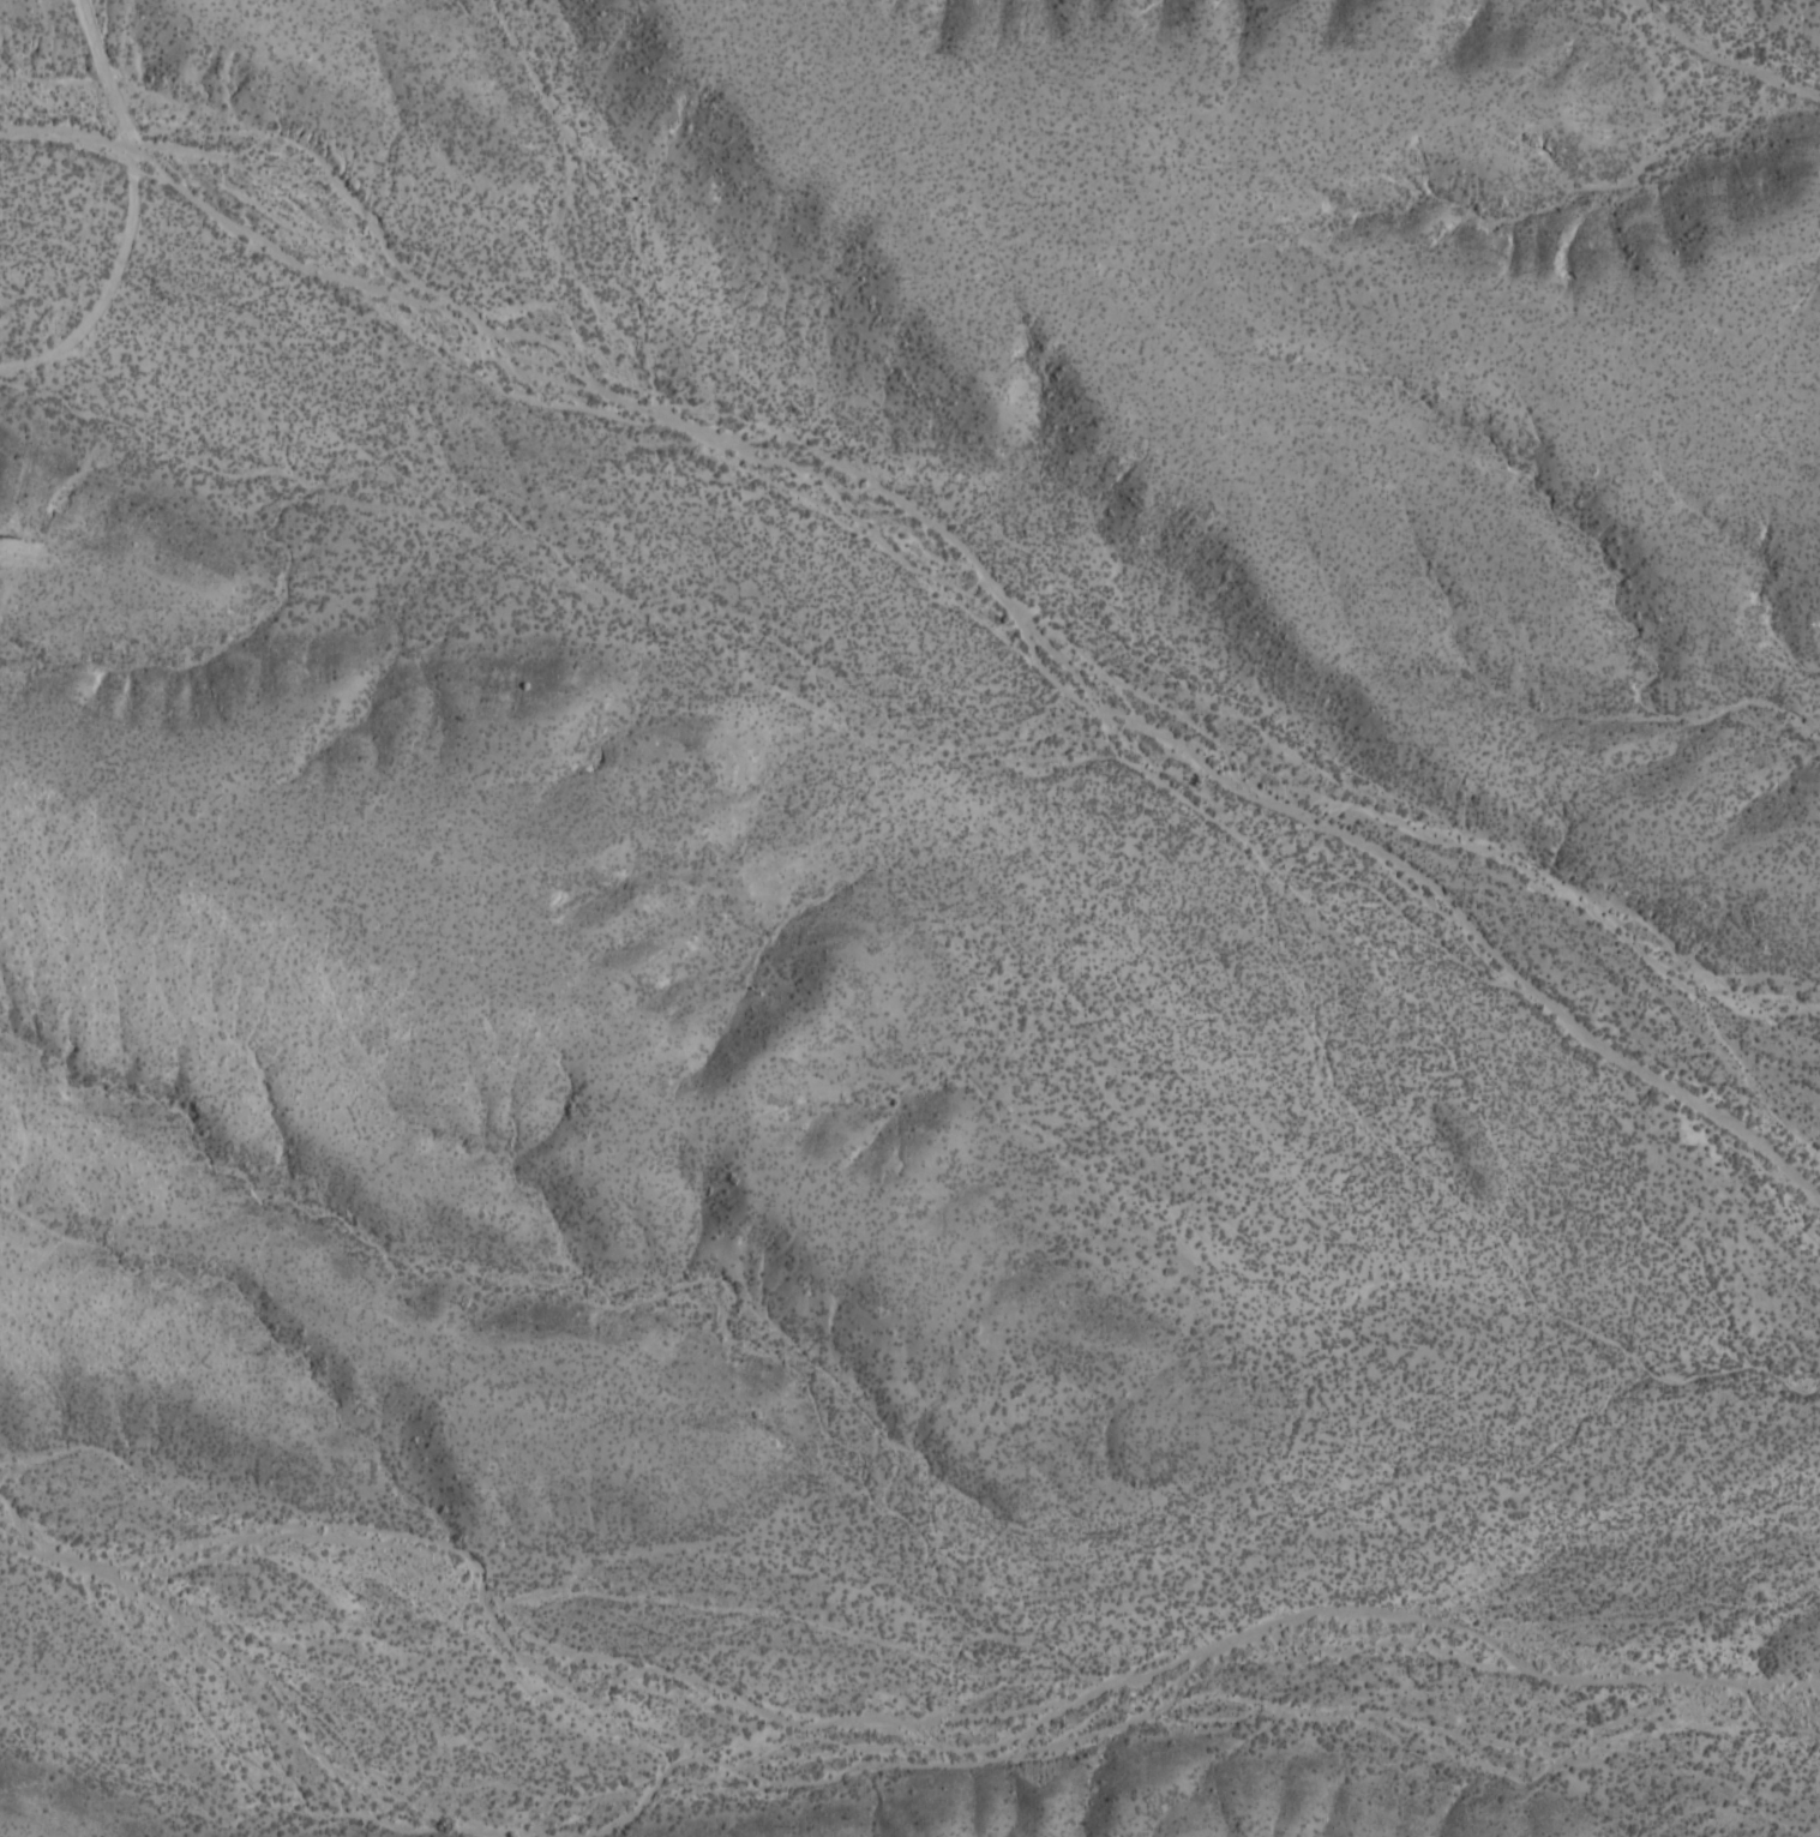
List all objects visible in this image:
road: (126, 210)
road: (12, 551)
road: (11, 578)

